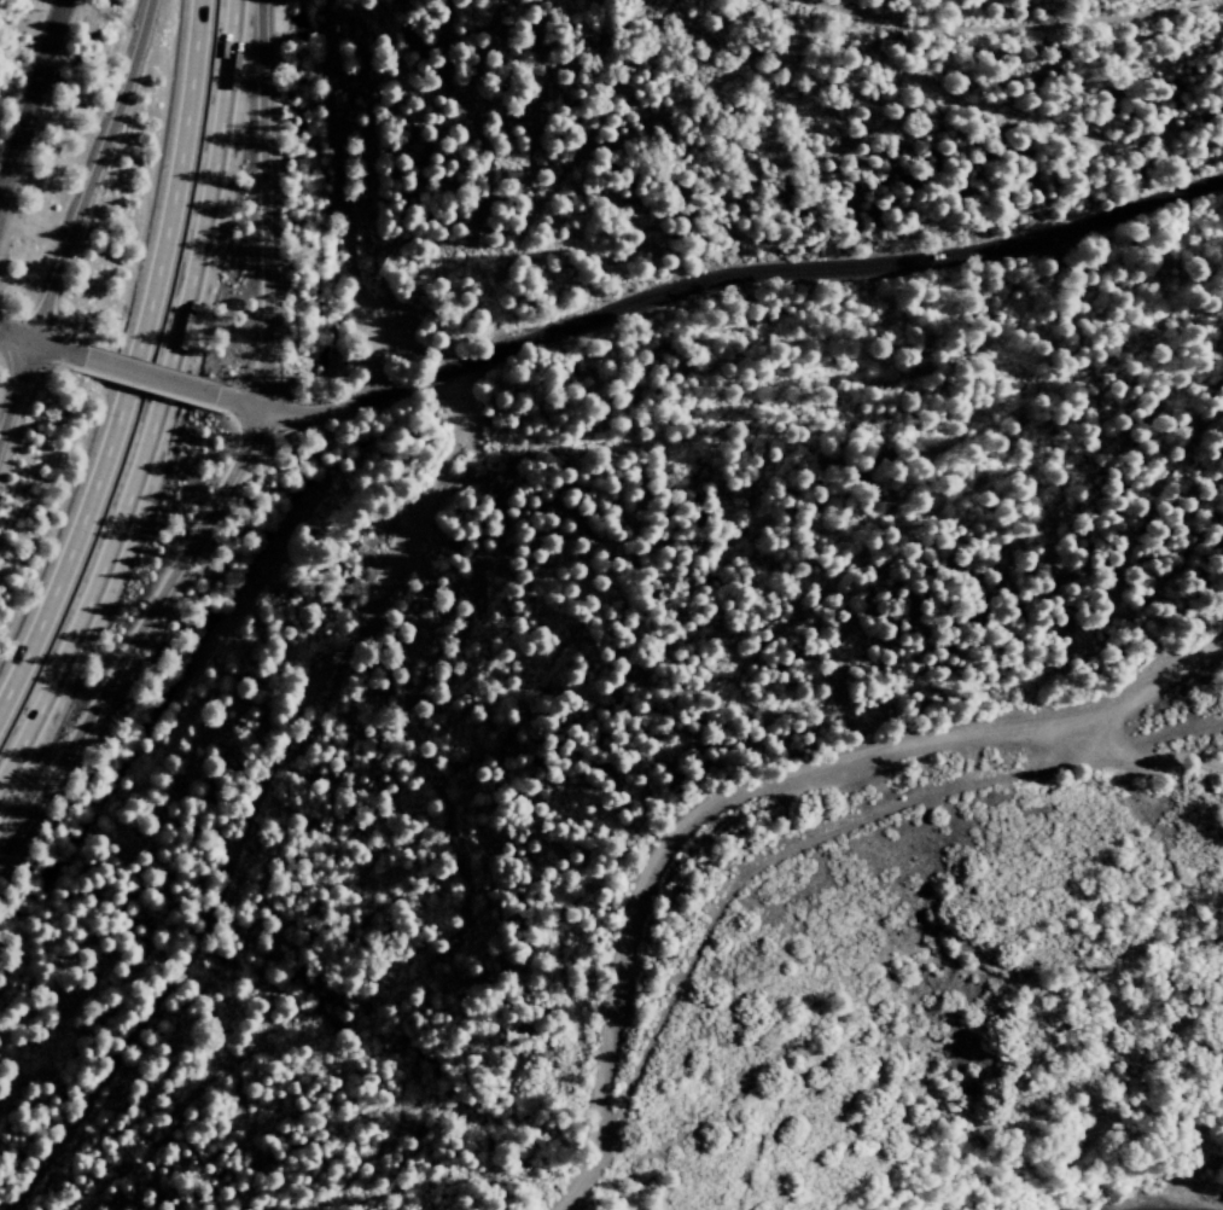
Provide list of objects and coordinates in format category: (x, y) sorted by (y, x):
road: (992, 53)
road: (29, 94)
road: (92, 170)
road: (263, 204)
road: (732, 272)
road: (40, 344)
road: (132, 362)
road: (147, 376)
road: (16, 388)
road: (235, 401)
road: (158, 403)
road: (135, 635)
road: (1145, 755)
road: (261, 781)
road: (753, 785)

